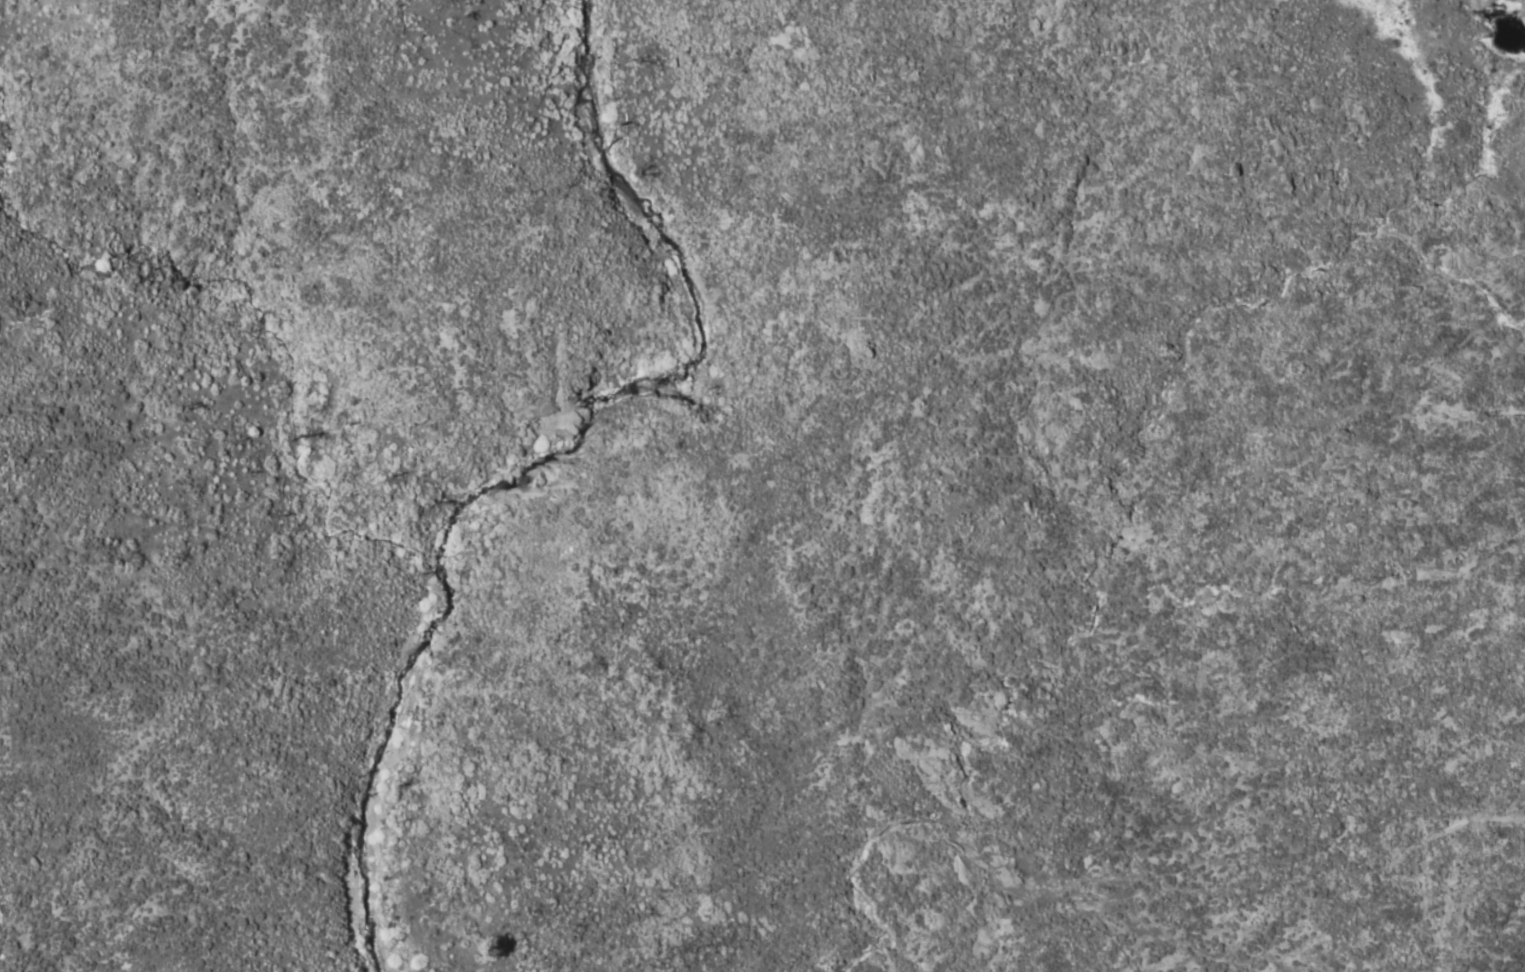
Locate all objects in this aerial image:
road: (1109, 651)

